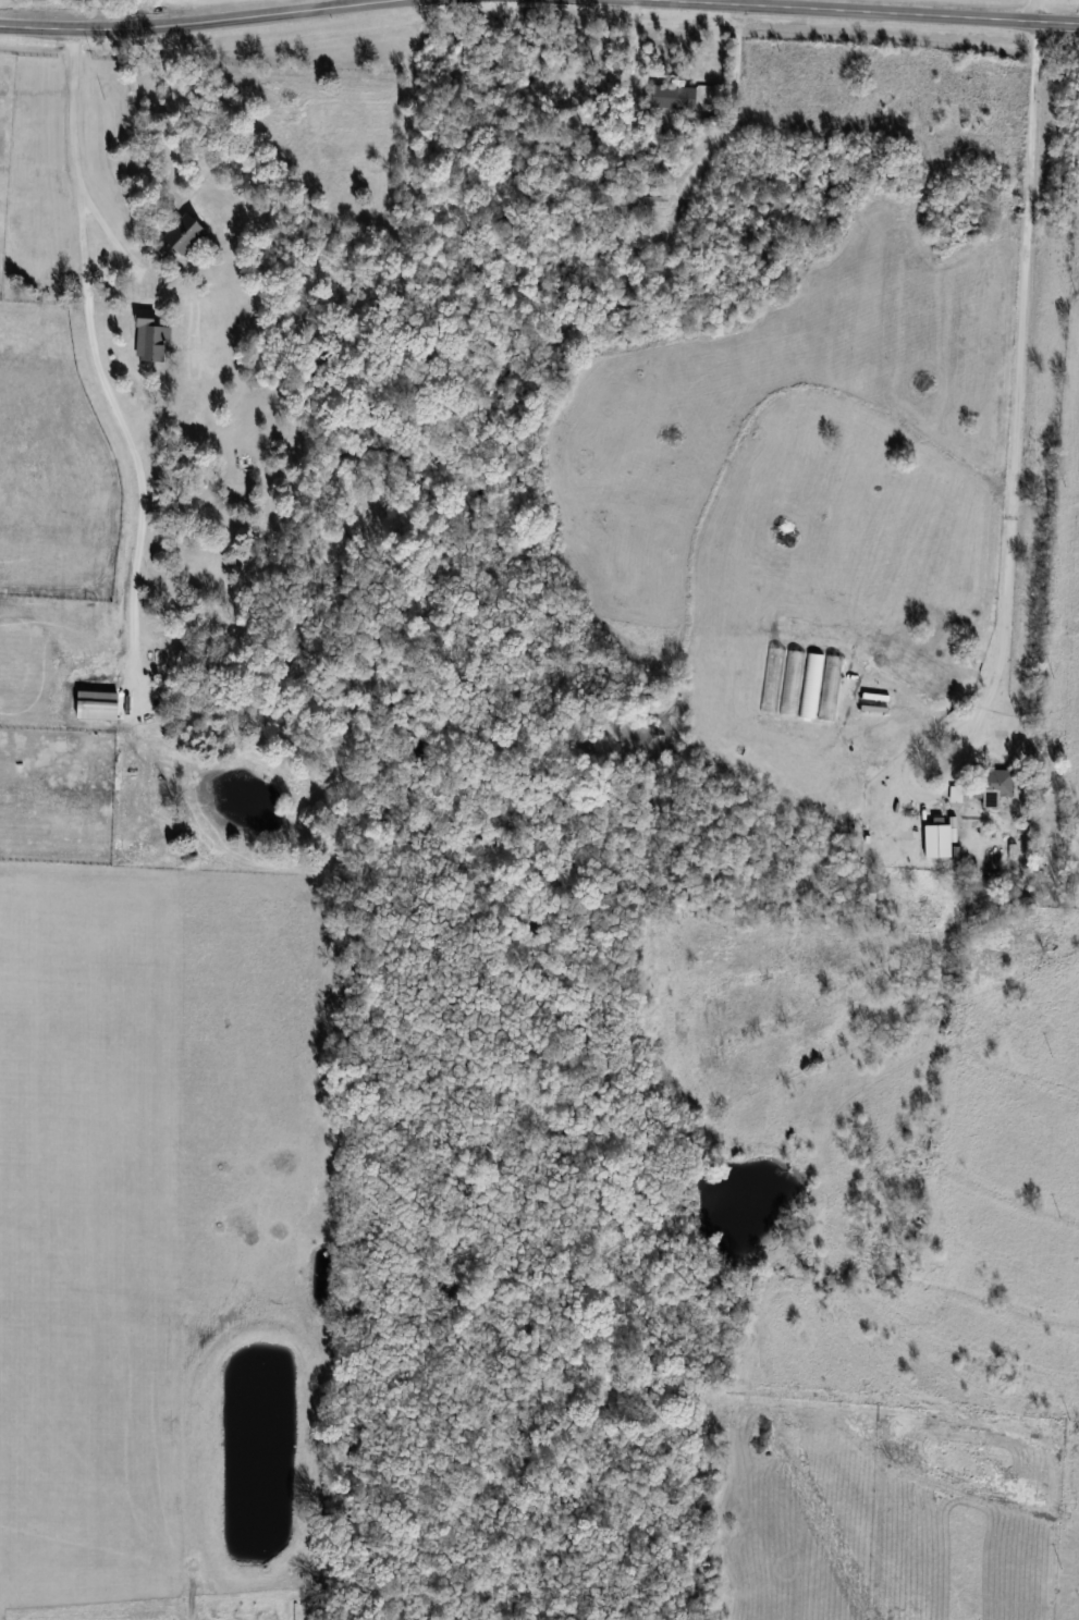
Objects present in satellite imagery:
road: (332, 3)
road: (1034, 10)
road: (863, 11)
road: (192, 22)
road: (726, 102)
building: (651, 200)
building: (188, 235)
building: (152, 336)
road: (100, 364)
road: (1015, 397)
building: (994, 782)
building: (940, 840)

